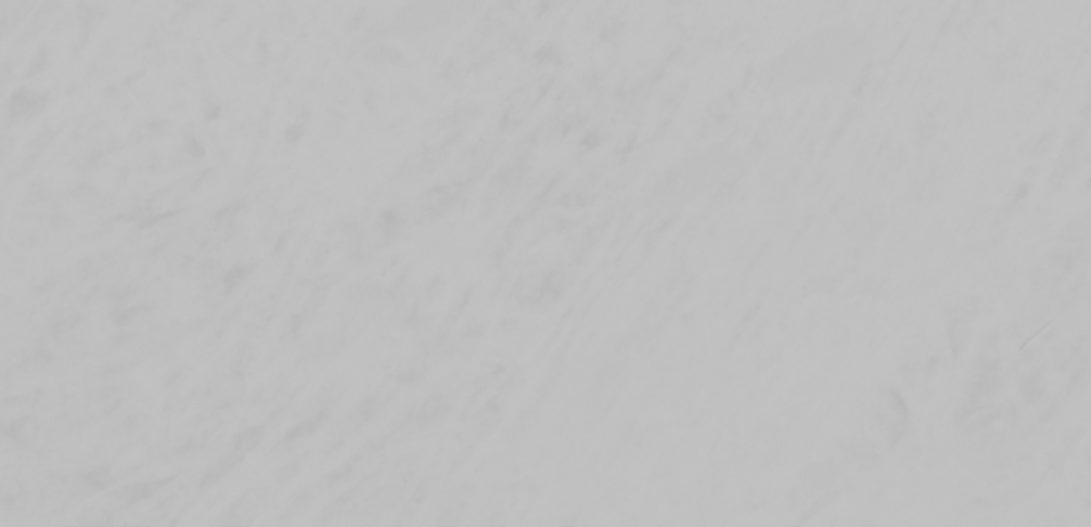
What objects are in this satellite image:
building: (836, 181)

